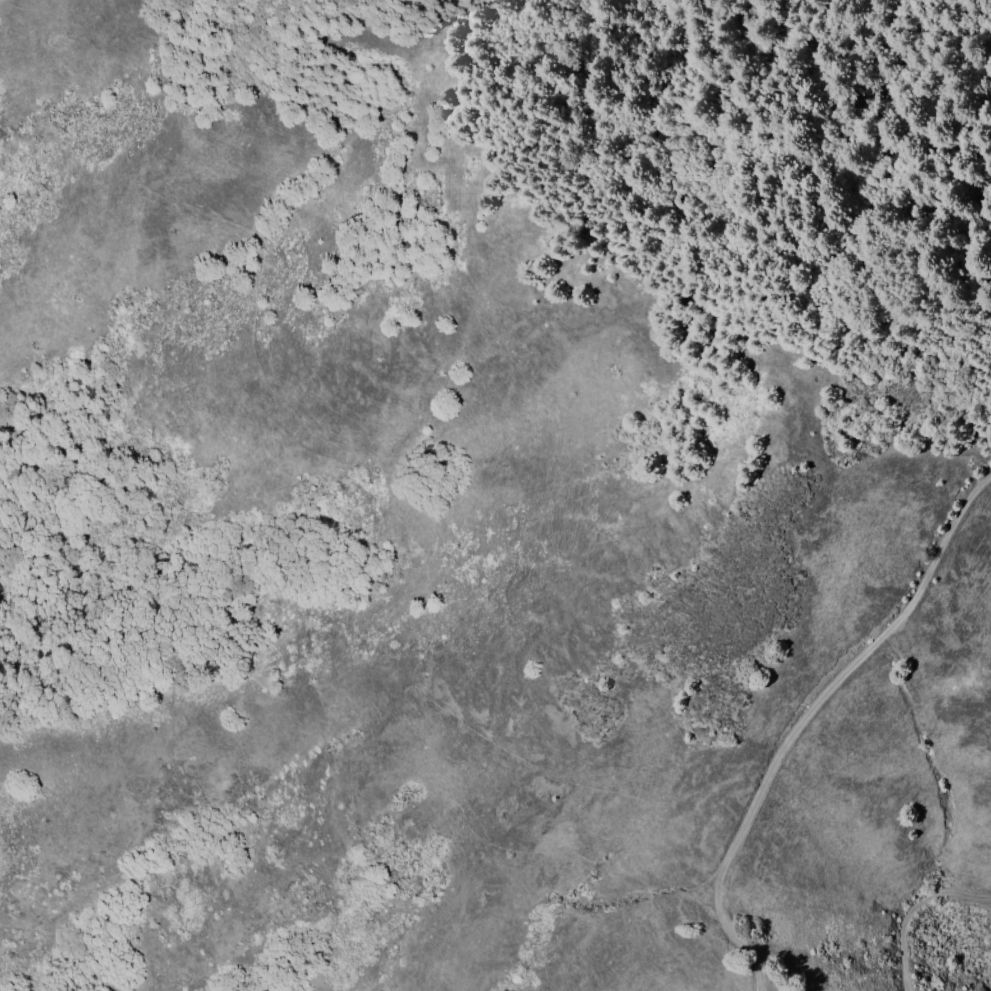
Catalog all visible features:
road: (701, 189)
road: (806, 722)
road: (914, 910)

